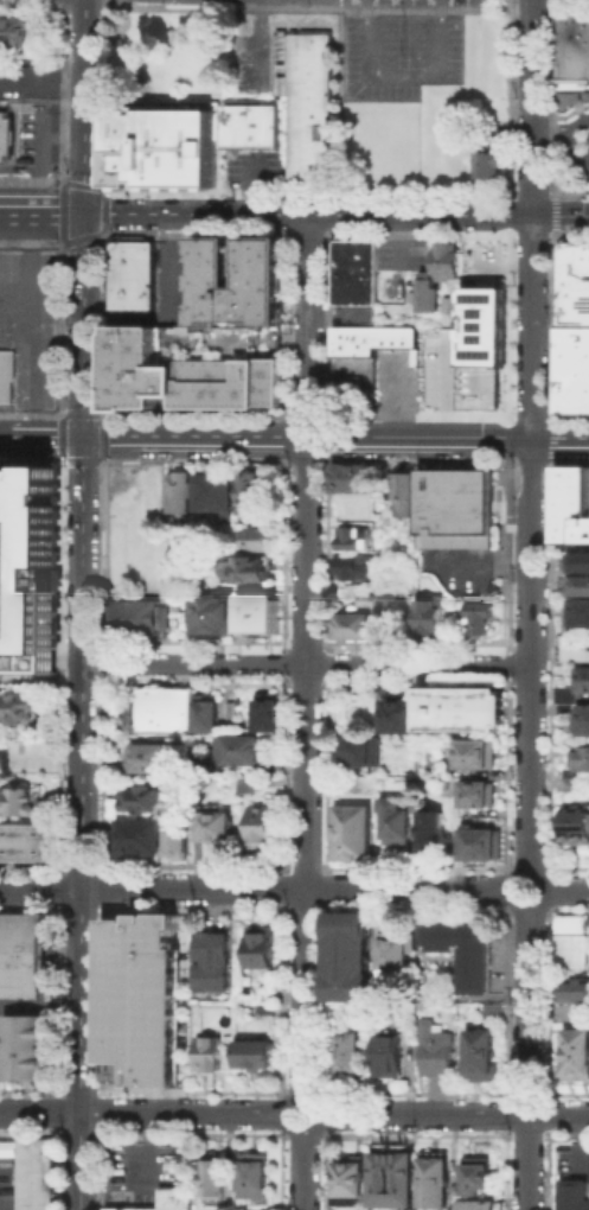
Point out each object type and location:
building: (15, 30)
park: (223, 40)
building: (575, 45)
parking lot: (401, 55)
building: (307, 101)
building: (249, 123)
road: (577, 123)
road: (551, 134)
building: (5, 135)
building: (167, 140)
parking lot: (575, 144)
road: (575, 149)
building: (491, 159)
parking lot: (249, 165)
road: (41, 214)
traffic signals: (84, 214)
road: (335, 214)
building: (135, 270)
parking lot: (169, 272)
building: (353, 272)
building: (440, 276)
building: (575, 279)
building: (241, 280)
building: (457, 306)
building: (486, 327)
building: (361, 363)
building: (572, 370)
building: (6, 375)
building: (181, 376)
parking lot: (397, 382)
building: (433, 383)
road: (4, 433)
road: (45, 434)
traffic signals: (82, 434)
road: (531, 435)
road: (334, 438)
building: (356, 480)
building: (183, 492)
building: (218, 492)
building: (405, 495)
building: (255, 496)
building: (454, 502)
building: (571, 505)
building: (258, 540)
building: (353, 540)
road: (82, 555)
building: (580, 563)
building: (251, 569)
building: (358, 569)
building: (28, 577)
building: (580, 586)
building: (369, 603)
building: (393, 606)
building: (580, 613)
building: (262, 614)
building: (431, 616)
building: (216, 617)
building: (139, 619)
building: (482, 620)
building: (357, 628)
building: (574, 648)
road: (307, 654)
road: (305, 663)
building: (583, 681)
building: (565, 699)
building: (21, 707)
building: (460, 707)
building: (167, 712)
building: (210, 713)
building: (269, 714)
building: (397, 714)
building: (585, 722)
building: (358, 749)
building: (245, 752)
building: (474, 752)
building: (161, 759)
building: (582, 759)
building: (243, 783)
building: (574, 785)
building: (475, 791)
building: (23, 800)
building: (139, 802)
building: (392, 820)
building: (263, 828)
building: (576, 828)
building: (430, 829)
building: (216, 830)
building: (352, 830)
building: (139, 836)
building: (174, 838)
building: (478, 841)
building: (25, 842)
road: (39, 887)
road: (295, 887)
road: (568, 892)
road: (539, 903)
building: (571, 937)
building: (263, 948)
building: (467, 953)
building: (21, 955)
building: (398, 955)
building: (347, 959)
building: (216, 964)
building: (577, 992)
building: (139, 999)
building: (562, 1011)
building: (494, 1013)
building: (28, 1045)
building: (350, 1052)
building: (437, 1052)
building: (577, 1053)
building: (211, 1055)
building: (258, 1055)
building: (481, 1055)
building: (390, 1056)
road: (527, 1058)
road: (315, 1102)
road: (40, 1112)
road: (184, 1113)
road: (454, 1114)
road: (79, 1161)
road: (302, 1168)
parking lot: (142, 1170)
building: (34, 1173)
building: (476, 1174)
building: (256, 1178)
building: (352, 1180)
building: (436, 1180)
building: (395, 1182)
building: (217, 1183)
building: (576, 1197)
building: (165, 1199)
building: (479, 1205)

